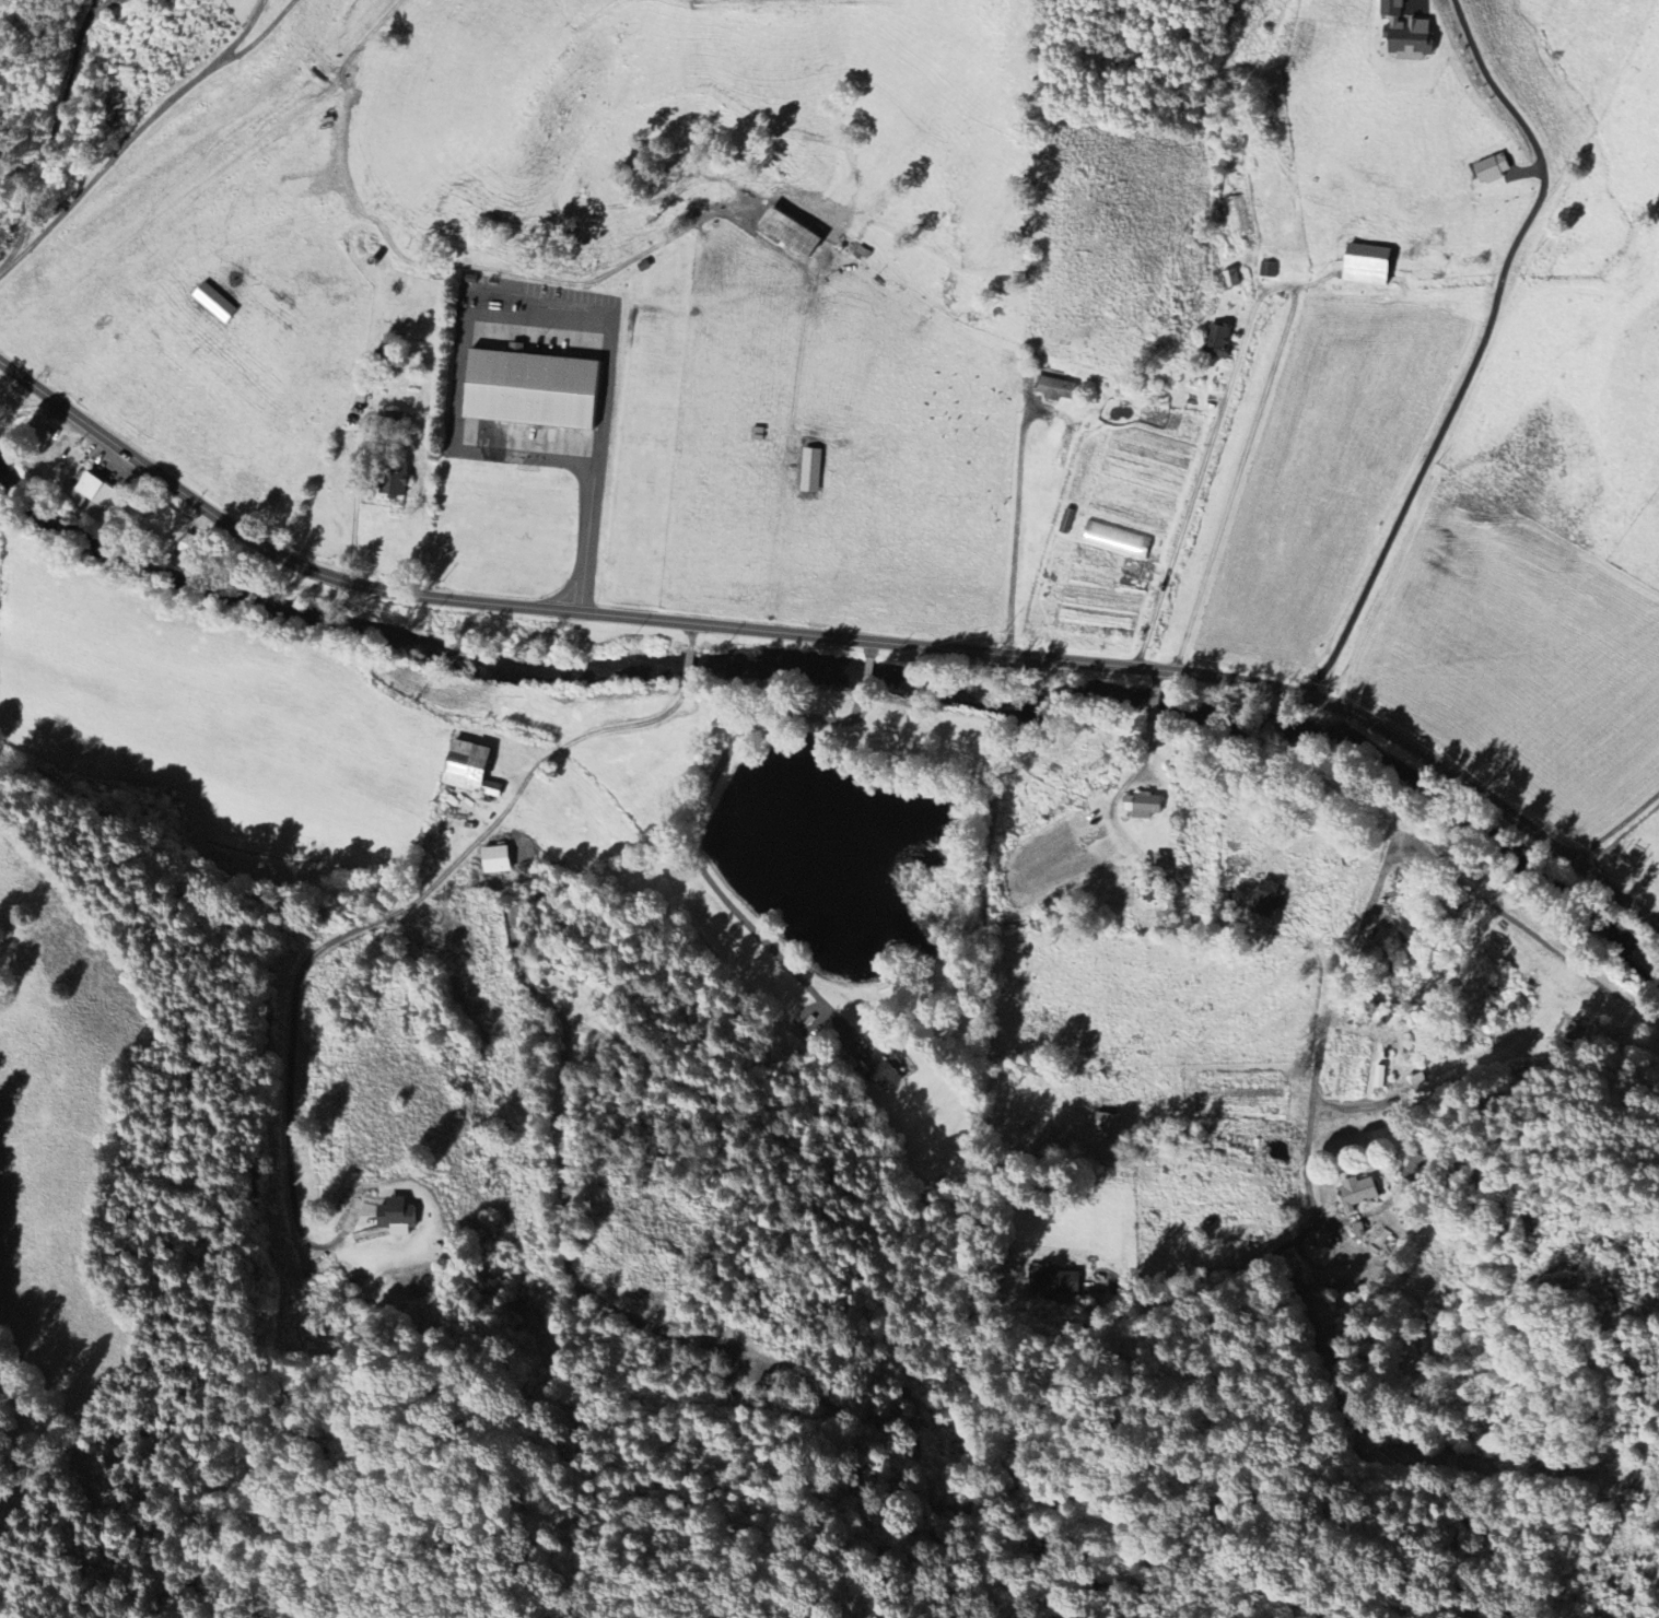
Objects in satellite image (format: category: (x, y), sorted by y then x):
building: (1404, 32)
road: (133, 137)
building: (1491, 168)
building: (1238, 214)
building: (788, 232)
building: (1366, 265)
building: (1269, 270)
building: (1231, 279)
building: (213, 302)
building: (1217, 341)
road: (1481, 351)
building: (1054, 388)
building: (533, 389)
building: (361, 390)
road: (605, 409)
road: (537, 450)
building: (810, 470)
building: (394, 478)
road: (1200, 482)
building: (96, 490)
road: (1018, 513)
building: (1115, 539)
building: (189, 544)
road: (693, 637)
road: (831, 638)
road: (689, 670)
building: (468, 767)
road: (1437, 769)
road: (1421, 789)
building: (1142, 806)
road: (1619, 829)
building: (494, 859)
building: (1149, 895)
building: (1264, 898)
road: (402, 915)
road: (1321, 1009)
building: (881, 1069)
building: (1379, 1076)
building: (1429, 1083)
building: (1105, 1122)
building: (1357, 1192)
building: (395, 1217)
building: (1055, 1279)

